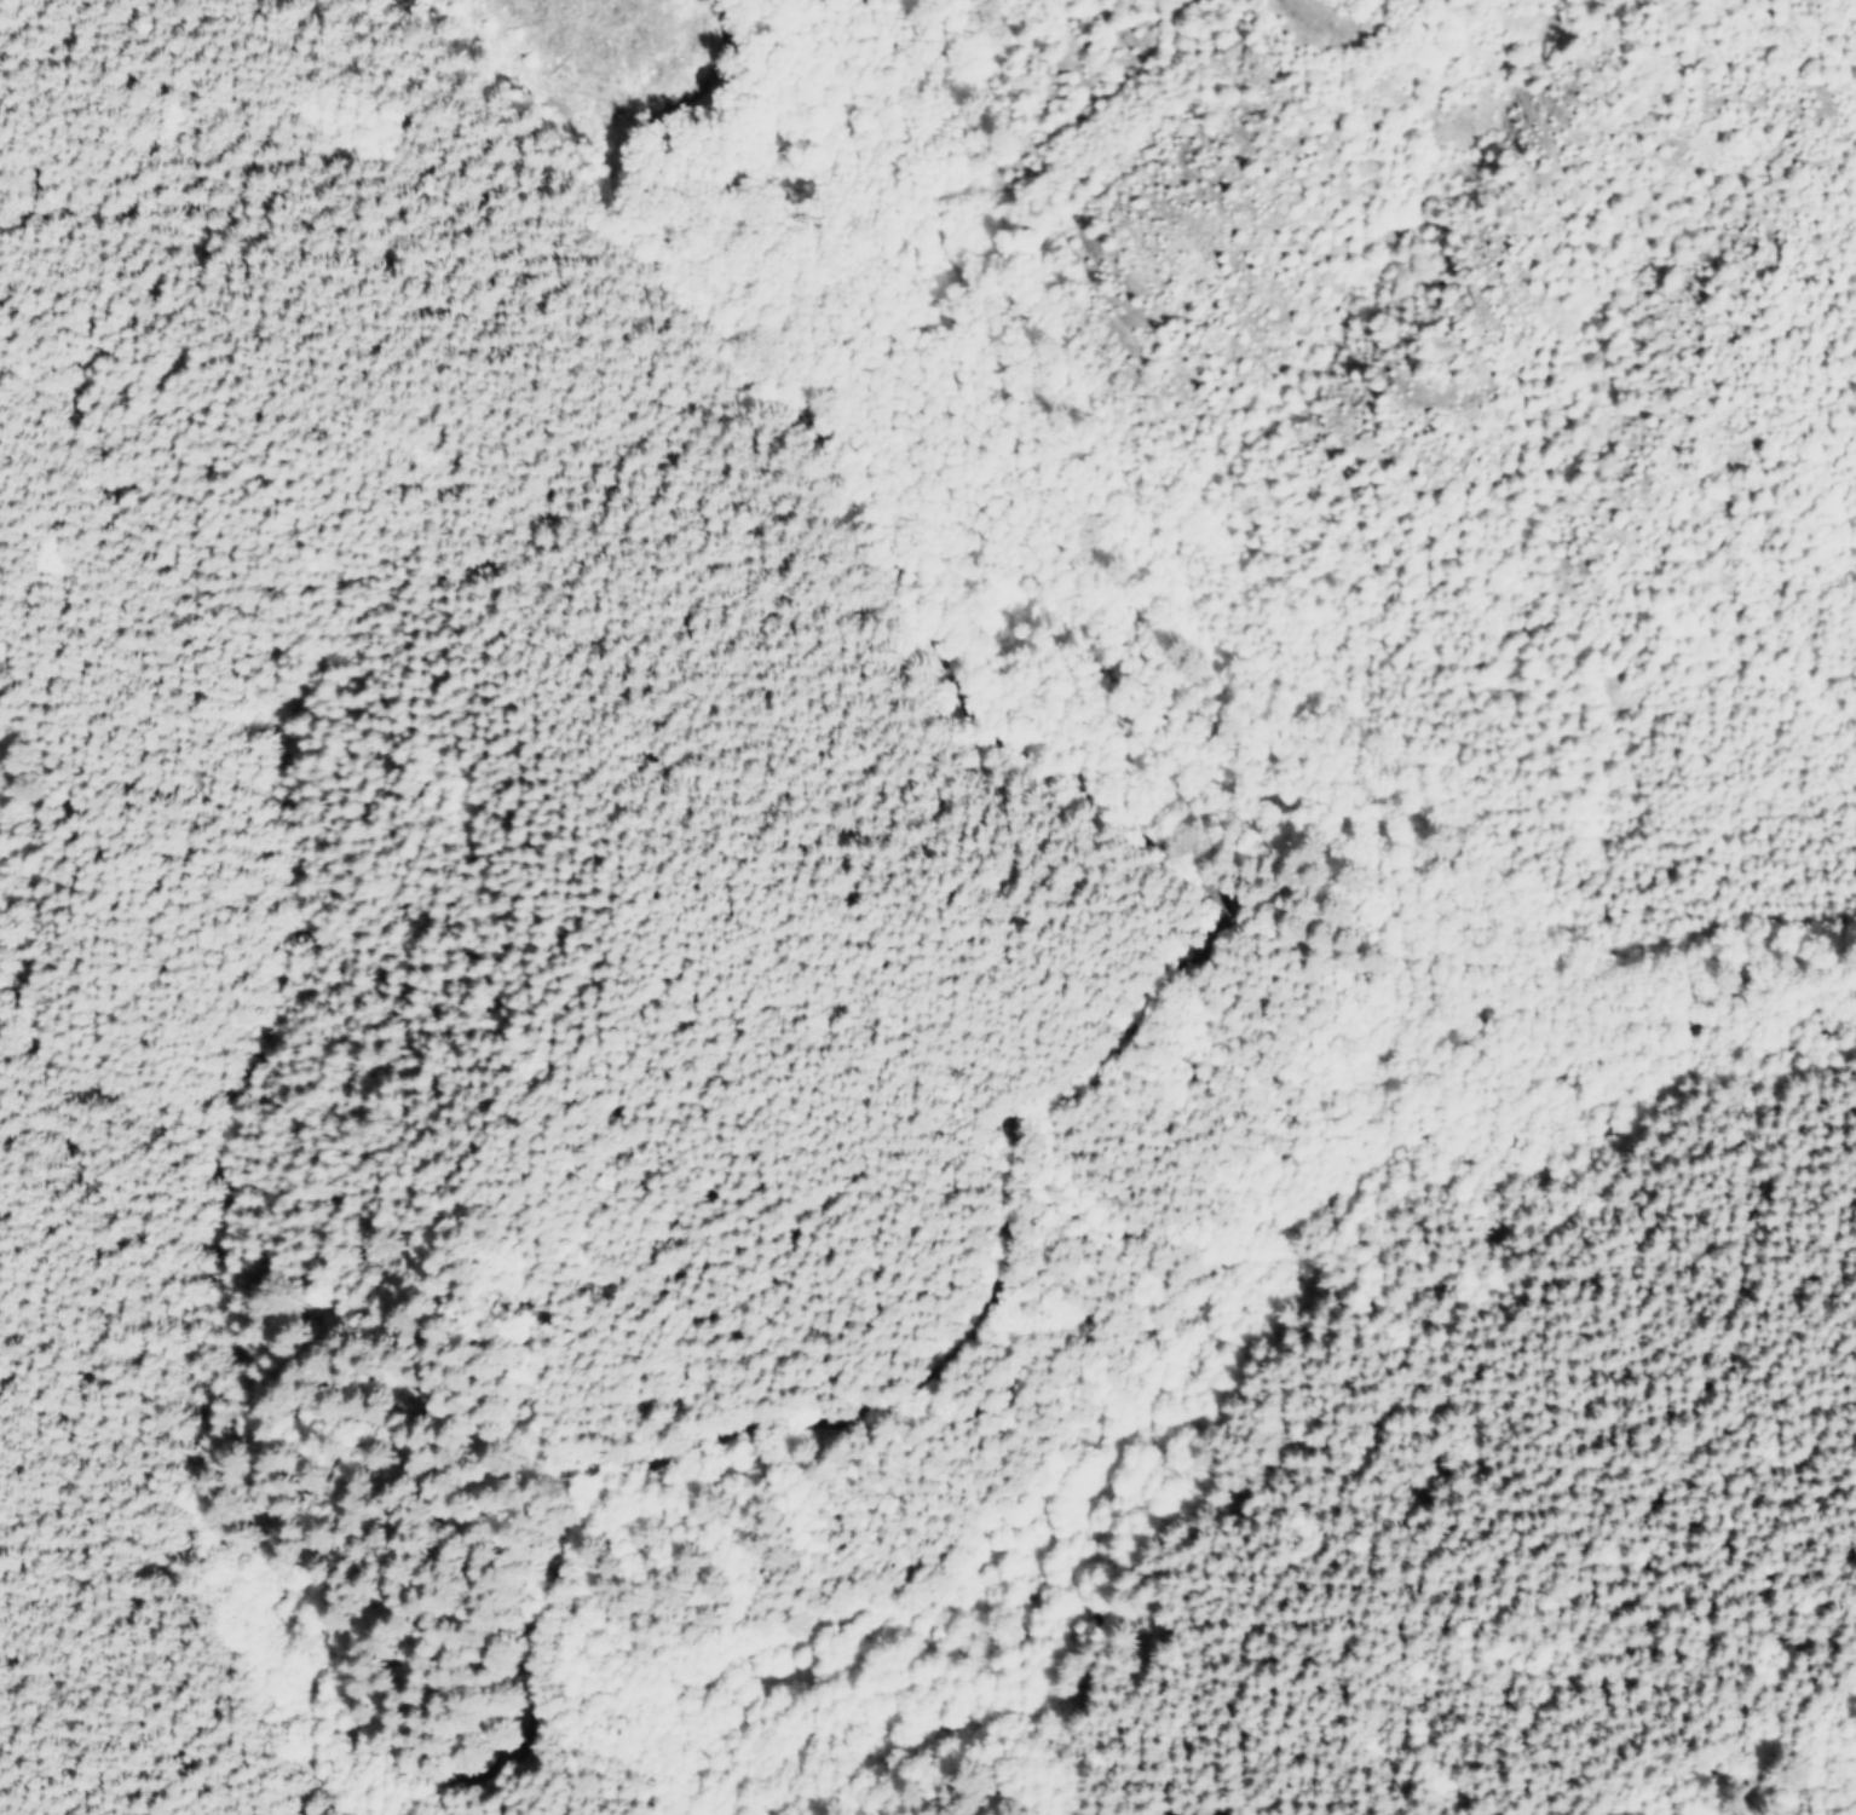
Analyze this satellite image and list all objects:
road: (1331, 27)
road: (993, 1042)
road: (1746, 1722)

